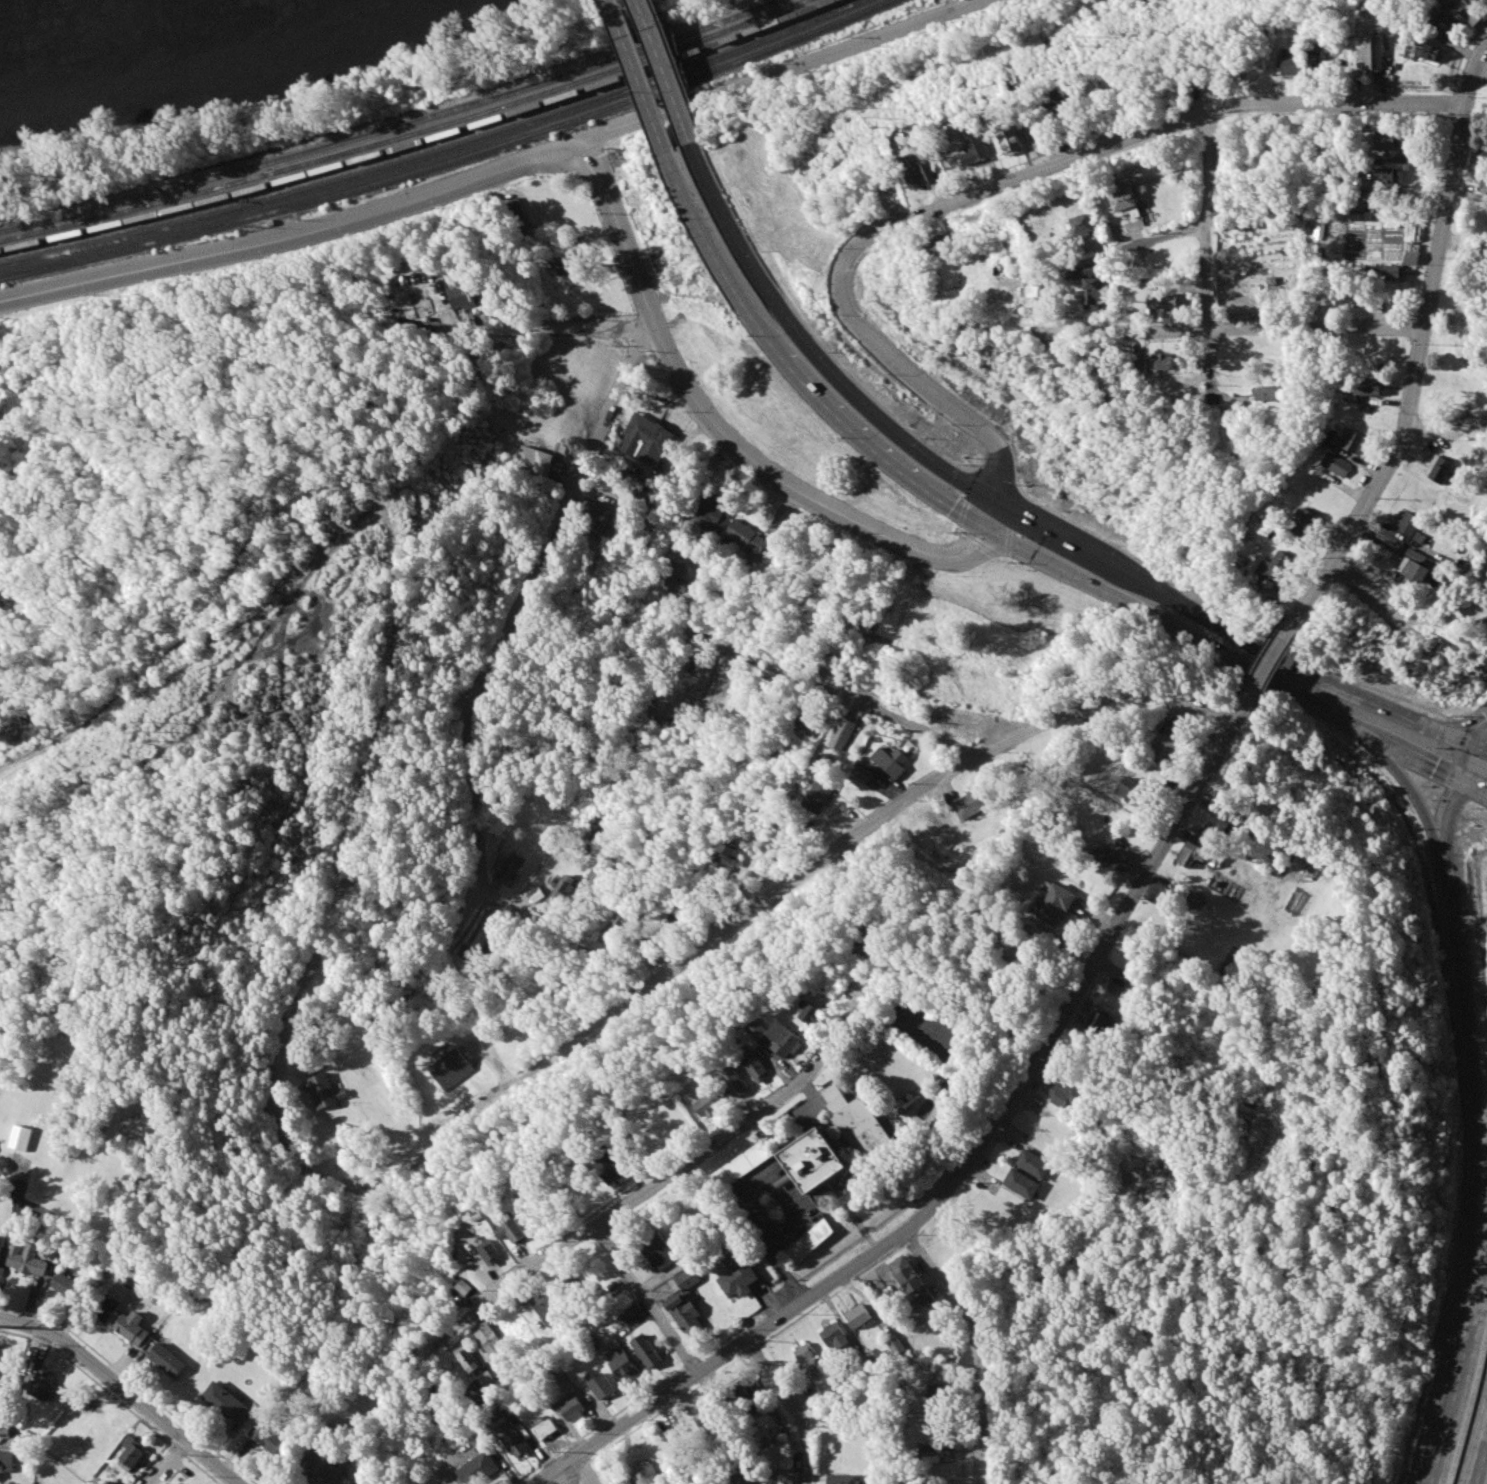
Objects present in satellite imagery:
building: (1475, 0)
building: (1452, 2)
river: (25, 8)
building: (1469, 12)
building: (1446, 22)
power tower: (1087, 46)
building: (1428, 51)
building: (1374, 52)
building: (1316, 59)
building: (1292, 61)
road: (679, 71)
road: (783, 72)
road: (669, 73)
road: (643, 78)
railway: (509, 93)
railway: (523, 99)
building: (1059, 100)
railway: (538, 104)
railway: (556, 115)
power tower: (876, 118)
railway: (572, 119)
building: (1382, 139)
building: (1011, 142)
building: (977, 150)
building: (1483, 153)
road: (587, 162)
building: (914, 175)
building: (1385, 176)
road: (1005, 179)
building: (1484, 184)
building: (1126, 201)
railway: (118, 203)
railway: (119, 213)
railway: (121, 222)
building: (1081, 225)
road: (1170, 233)
railway: (122, 239)
building: (935, 247)
railway: (124, 248)
building: (1411, 258)
road: (1213, 259)
building: (567, 264)
building: (1086, 270)
building: (1390, 272)
building: (1038, 292)
building: (1093, 292)
building: (462, 295)
building: (1165, 300)
road: (564, 327)
road: (1242, 328)
road: (811, 332)
road: (1421, 338)
road: (811, 351)
building: (1141, 361)
building: (1162, 362)
road: (795, 371)
building: (1368, 386)
building: (1268, 392)
road: (1448, 425)
building: (646, 438)
building: (1352, 441)
building: (532, 461)
building: (1336, 464)
building: (1438, 469)
road: (994, 477)
traffic signals: (994, 501)
road: (564, 503)
building: (713, 514)
road: (991, 514)
building: (593, 519)
building: (1303, 521)
building: (1411, 527)
traffic signals: (989, 528)
building: (747, 537)
power tower: (369, 546)
building: (1275, 570)
building: (1413, 570)
building: (677, 579)
road: (1402, 613)
road: (1382, 615)
road: (1225, 618)
road: (1230, 631)
road: (1273, 662)
building: (829, 663)
road: (1237, 663)
building: (702, 676)
road: (823, 685)
road: (1411, 695)
road: (1470, 728)
power tower: (146, 730)
building: (843, 735)
road: (1478, 735)
building: (1168, 742)
traffic signals: (1474, 747)
road: (1480, 750)
building: (896, 757)
road: (1388, 758)
road: (1467, 765)
building: (863, 773)
traffic signals: (1461, 783)
building: (1131, 790)
building: (820, 793)
road: (1415, 796)
building: (972, 803)
building: (1228, 824)
road: (738, 831)
road: (488, 840)
road: (1435, 842)
building: (1191, 854)
building: (724, 856)
building: (1114, 857)
building: (513, 866)
road: (1444, 877)
building: (565, 888)
building: (1055, 904)
building: (870, 936)
building: (496, 945)
road: (648, 990)
building: (812, 1014)
building: (1097, 1021)
building: (777, 1038)
building: (755, 1063)
road: (1466, 1066)
building: (453, 1069)
road: (1260, 1076)
building: (734, 1081)
building: (325, 1091)
building: (1064, 1093)
road: (1161, 1095)
building: (708, 1107)
building: (857, 1122)
building: (21, 1138)
building: (815, 1160)
building: (1034, 1164)
building: (742, 1166)
building: (613, 1168)
road: (963, 1168)
road: (680, 1169)
building: (1021, 1183)
road: (1479, 1212)
building: (517, 1230)
building: (809, 1241)
building: (494, 1251)
building: (660, 1251)
building: (1, 1253)
road: (773, 1256)
building: (29, 1260)
road: (1486, 1263)
building: (737, 1275)
road: (633, 1279)
building: (910, 1282)
building: (67, 1285)
building: (468, 1287)
building: (114, 1302)
building: (686, 1303)
building: (549, 1307)
building: (858, 1315)
building: (134, 1327)
building: (834, 1336)
building: (492, 1338)
road: (970, 1347)
building: (647, 1350)
road: (678, 1355)
building: (470, 1359)
building: (168, 1360)
building: (807, 1361)
building: (5, 1364)
building: (624, 1365)
road: (1464, 1375)
building: (487, 1378)
building: (43, 1385)
building: (602, 1386)
road: (129, 1387)
building: (936, 1393)
building: (229, 1403)
road: (796, 1404)
building: (573, 1409)
building: (703, 1416)
building: (545, 1426)
building: (4, 1427)
building: (268, 1437)
building: (676, 1437)
building: (514, 1439)
road: (1478, 1450)
building: (935, 1452)
building: (132, 1454)
building: (6, 1461)
road: (171, 1462)
building: (323, 1467)
building: (479, 1468)
road: (587, 1469)
building: (642, 1472)
building: (759, 1478)
building: (842, 1479)
building: (179, 1483)

